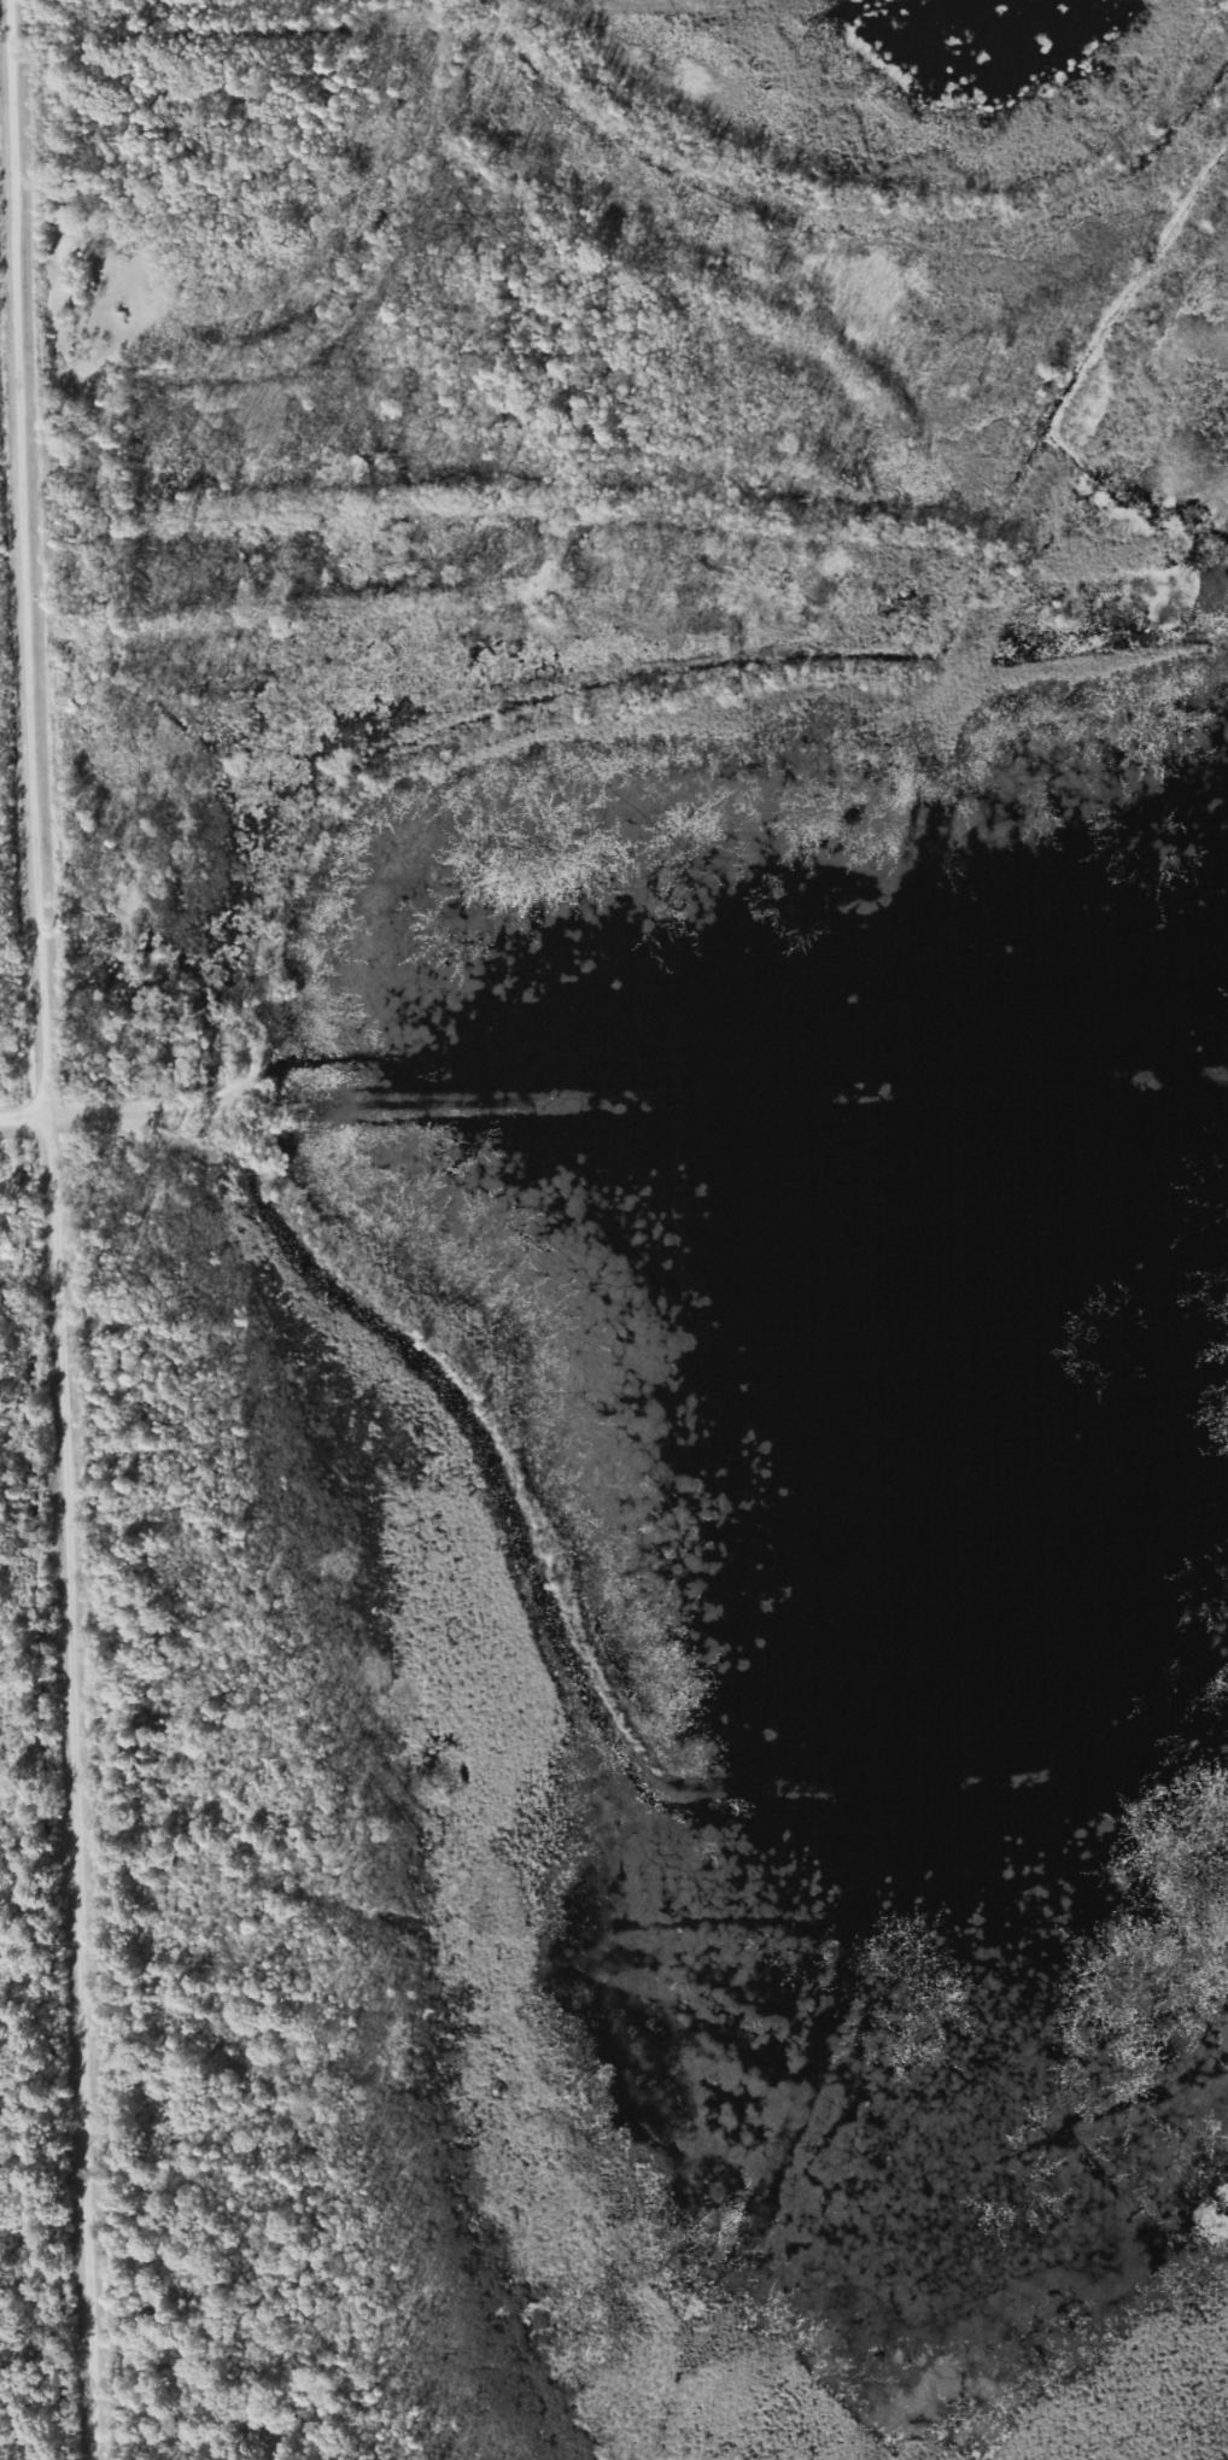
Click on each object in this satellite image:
road: (10, 28)
road: (13, 980)
road: (17, 1117)
road: (36, 1229)

